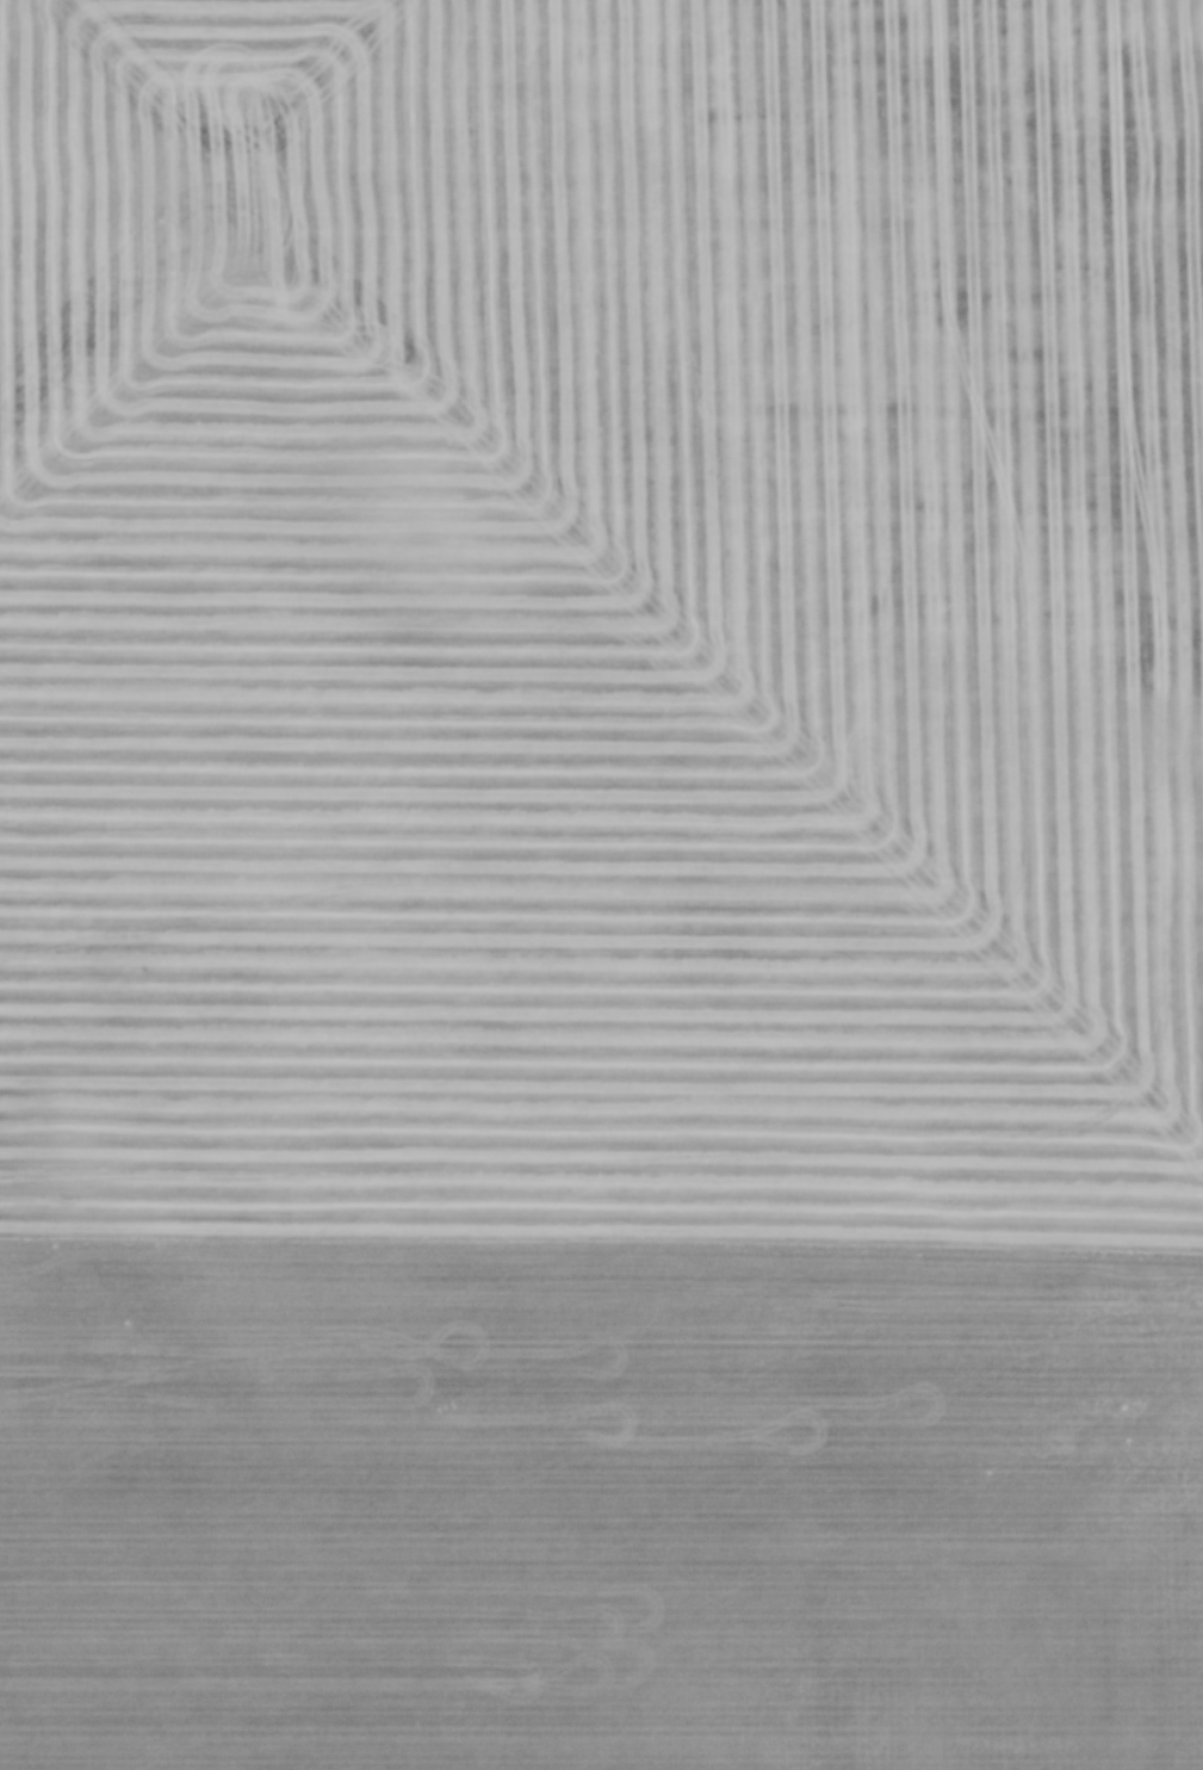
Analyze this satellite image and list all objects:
crop: (601, 885)

